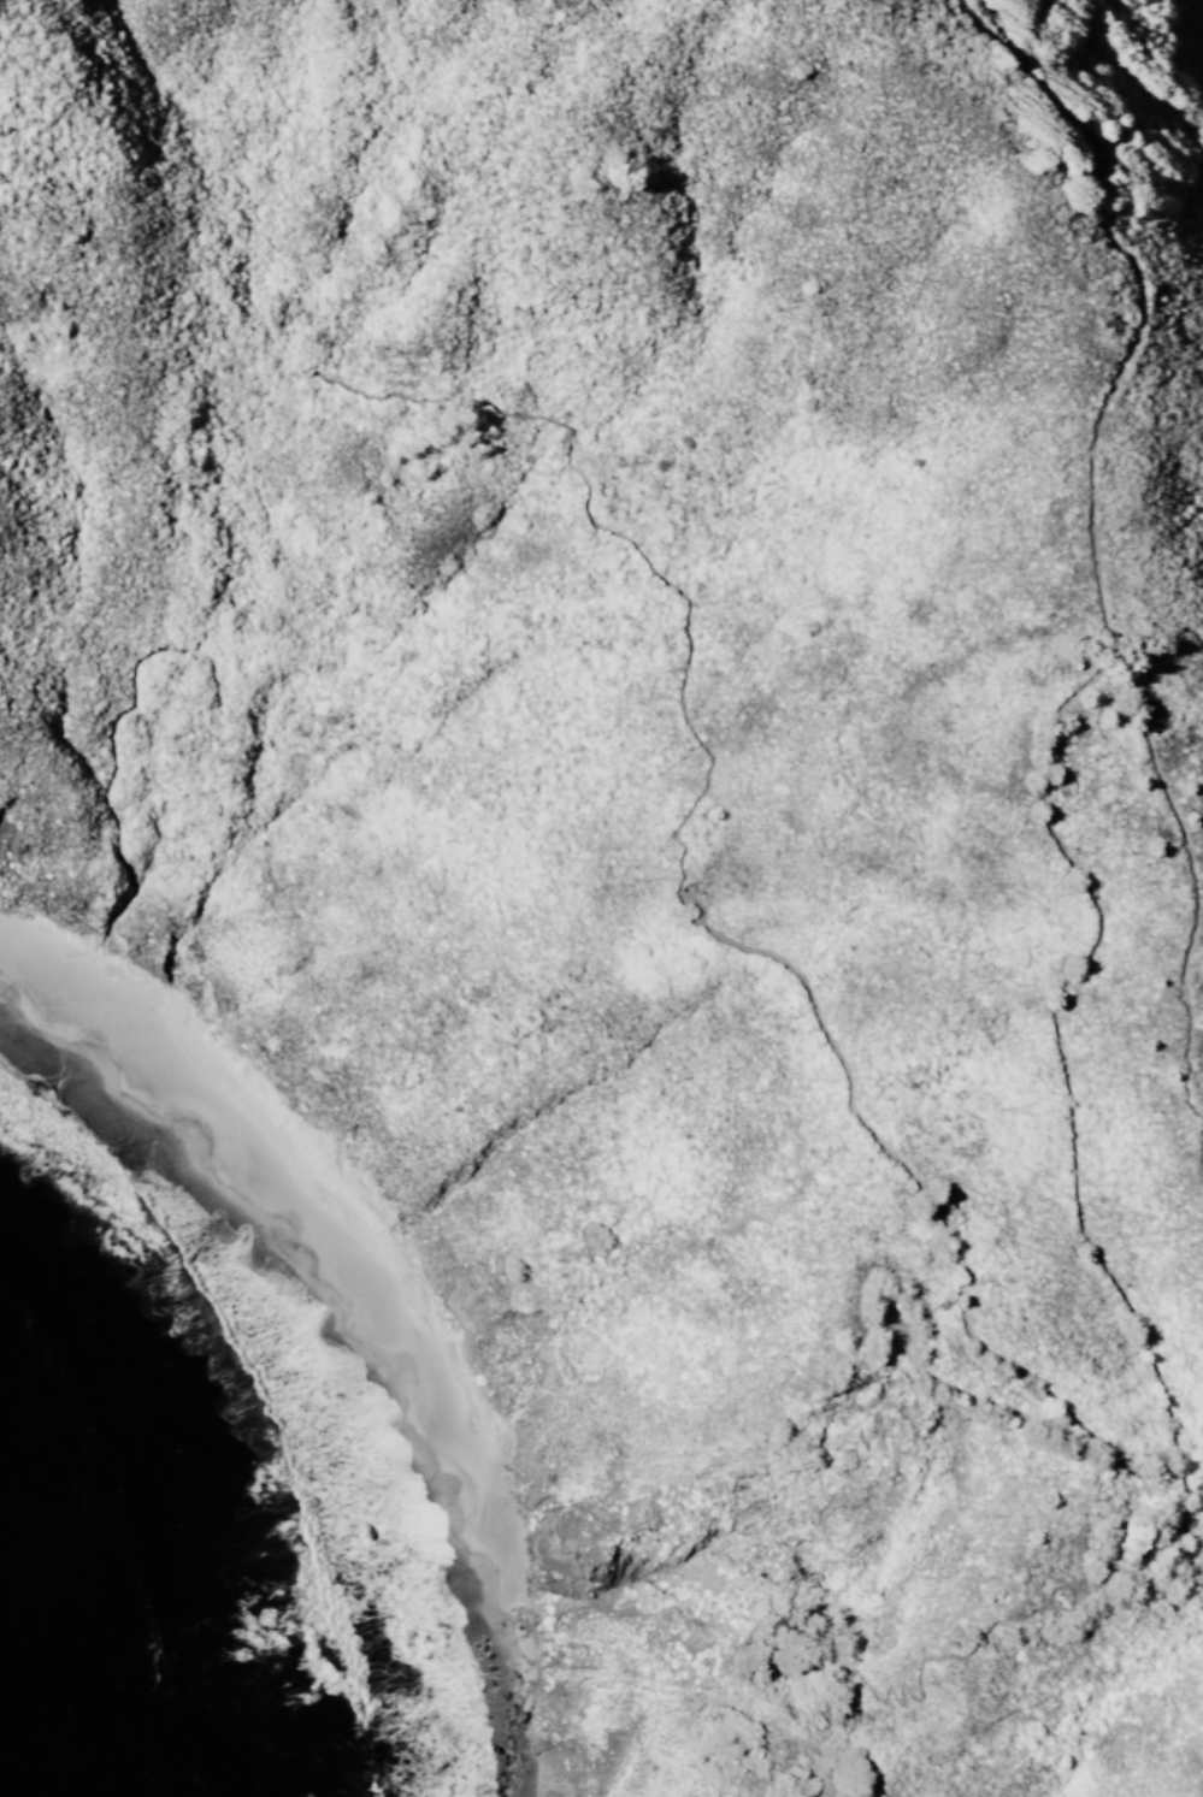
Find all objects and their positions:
road: (1148, 283)
road: (1193, 871)
road: (961, 1255)

